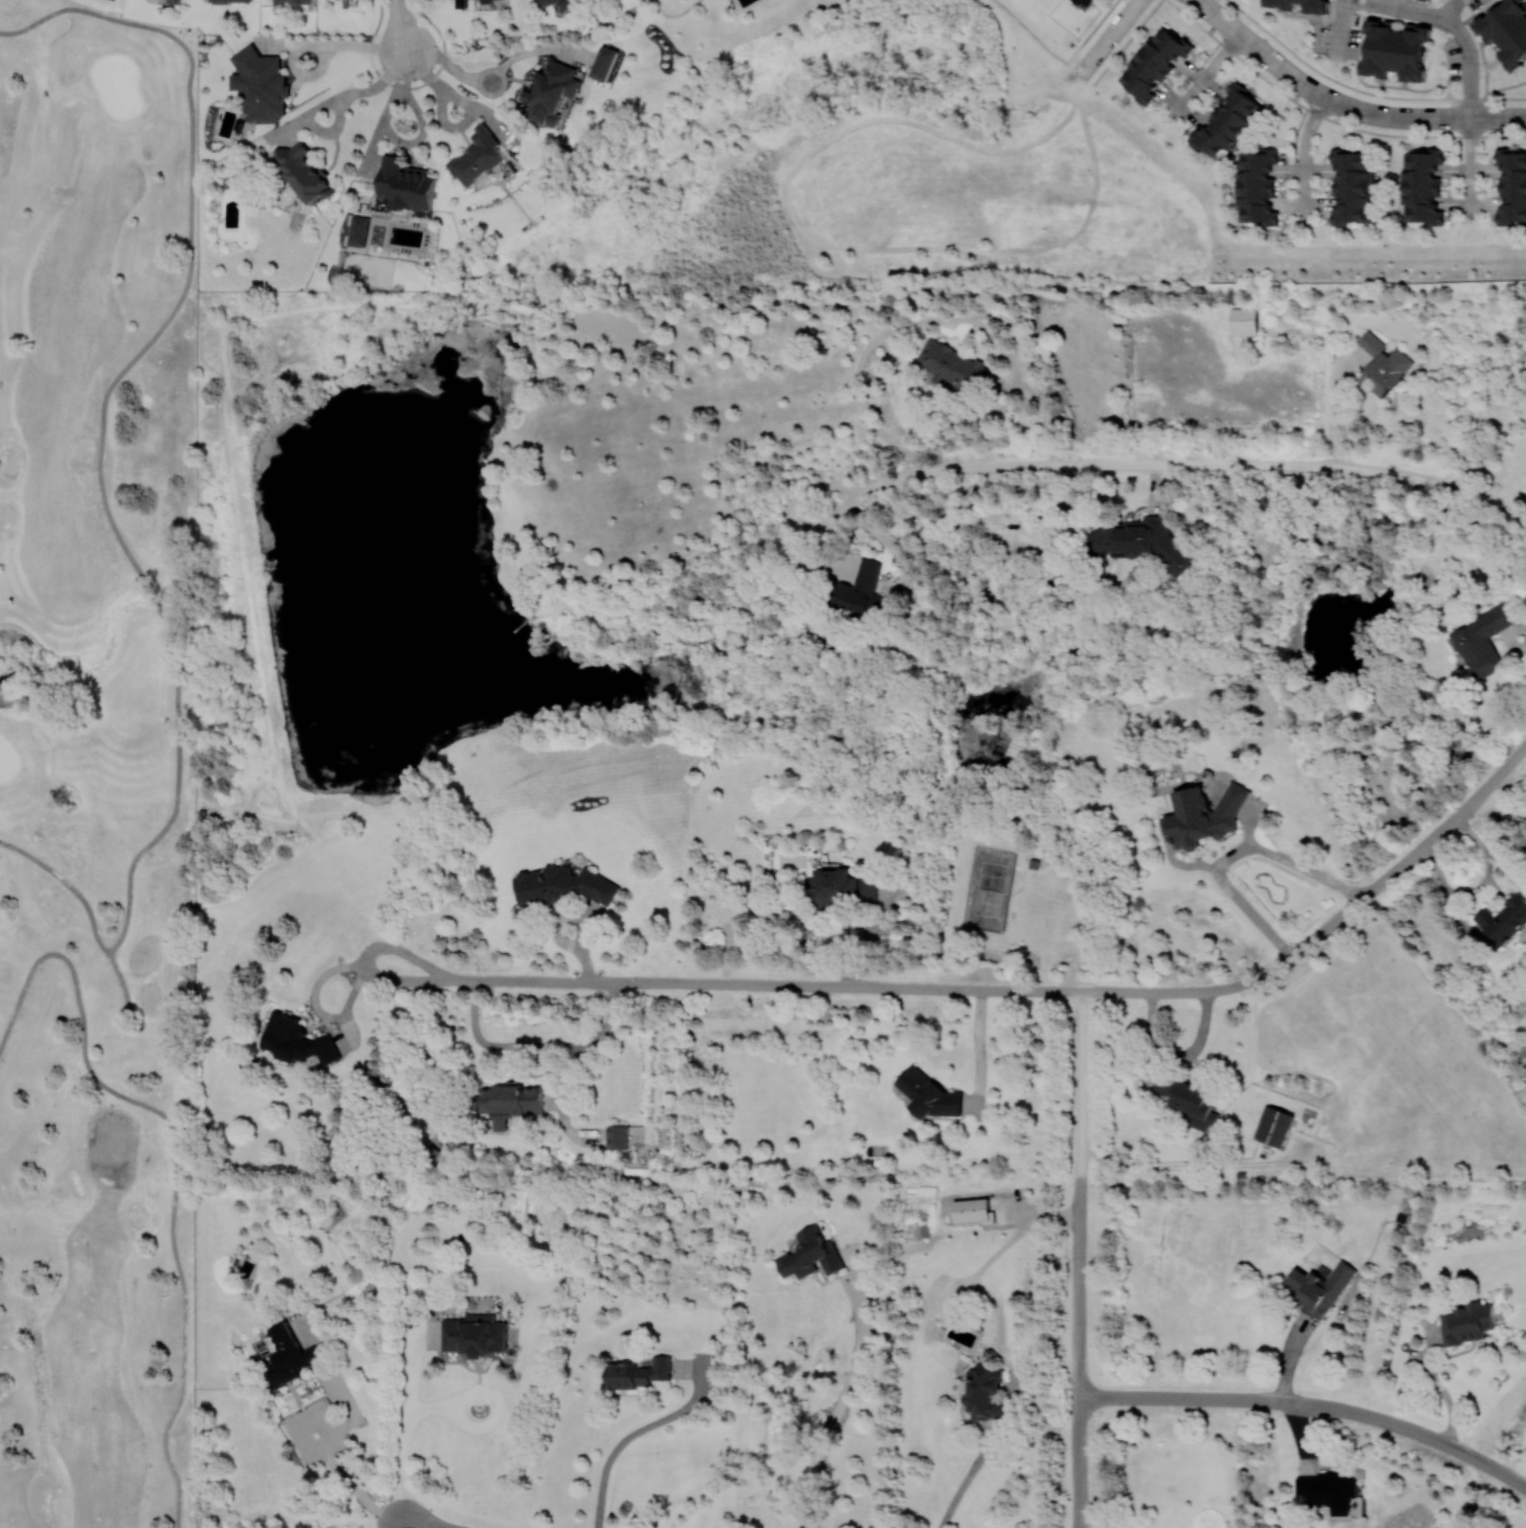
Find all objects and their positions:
building: (233, 0)
building: (1429, 0)
building: (175, 1)
building: (294, 1)
building: (487, 1)
building: (462, 3)
building: (1086, 3)
building: (546, 4)
building: (1278, 5)
road: (742, 7)
road: (1206, 8)
road: (1449, 9)
road: (671, 16)
road: (1450, 22)
road: (402, 26)
road: (1118, 27)
road: (1338, 29)
building: (1507, 31)
road: (1028, 32)
road: (1090, 32)
road: (1125, 42)
road: (336, 44)
building: (1396, 50)
road: (1208, 54)
building: (1155, 62)
building: (604, 63)
road: (1086, 66)
road: (489, 74)
road: (1205, 76)
building: (261, 84)
road: (1361, 91)
building: (552, 92)
road: (329, 102)
road: (468, 104)
road: (1356, 110)
road: (1327, 118)
building: (1228, 123)
road: (1295, 134)
park: (942, 145)
road: (1459, 149)
building: (479, 156)
road: (1303, 159)
road: (1469, 169)
building: (304, 171)
building: (406, 184)
building: (1257, 186)
building: (1351, 186)
building: (1423, 186)
building: (1512, 186)
road: (190, 231)
building: (358, 231)
park: (1368, 261)
building: (1244, 321)
road: (925, 322)
building: (1383, 365)
building: (951, 366)
road: (1332, 412)
park: (95, 417)
road: (1165, 466)
building: (1144, 541)
park: (424, 571)
building: (860, 590)
road: (150, 592)
dam: (262, 608)
building: (1484, 639)
road: (1514, 640)
road: (79, 666)
road: (176, 692)
road: (1514, 785)
building: (1203, 816)
road: (1234, 850)
building: (565, 885)
building: (842, 887)
road: (1479, 888)
building: (1503, 919)
road: (860, 940)
road: (530, 980)
road: (1150, 992)
building: (297, 1040)
road: (978, 1043)
road: (536, 1044)
building: (929, 1094)
building: (1189, 1101)
building: (511, 1102)
building: (1275, 1126)
building: (618, 1136)
building: (972, 1210)
building: (811, 1255)
road: (1077, 1260)
building: (1320, 1287)
building: (1468, 1323)
building: (475, 1334)
building: (291, 1355)
building: (639, 1373)
road: (1439, 1385)
building: (983, 1391)
road: (1172, 1398)
road: (839, 1403)
road: (1319, 1403)
road: (433, 1408)
road: (500, 1409)
road: (408, 1417)
road: (637, 1431)
road: (1451, 1443)
road: (960, 1483)
building: (1330, 1490)
road: (356, 1493)
road: (421, 1524)
road: (1083, 1525)

